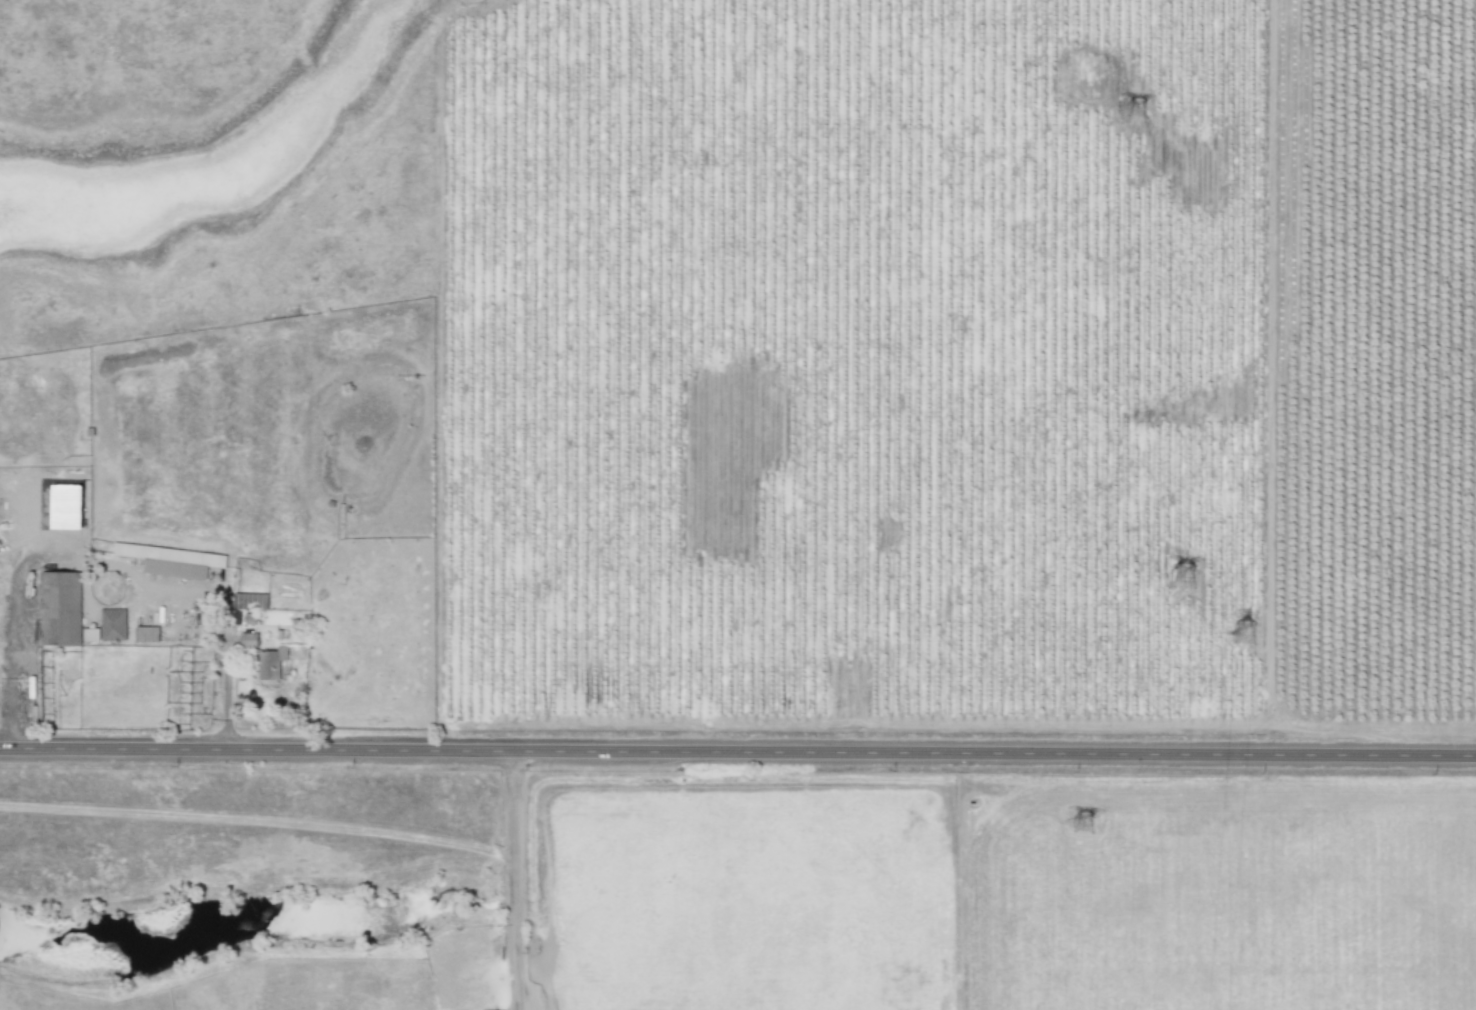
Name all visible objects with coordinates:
power tower: (1141, 110)
building: (171, 559)
power tower: (1176, 567)
road: (20, 585)
building: (250, 600)
building: (61, 604)
building: (250, 616)
building: (276, 616)
building: (108, 625)
building: (147, 632)
power tower: (1249, 637)
building: (248, 638)
building: (273, 662)
road: (225, 691)
road: (737, 750)
power tower: (1087, 824)
road: (513, 880)

